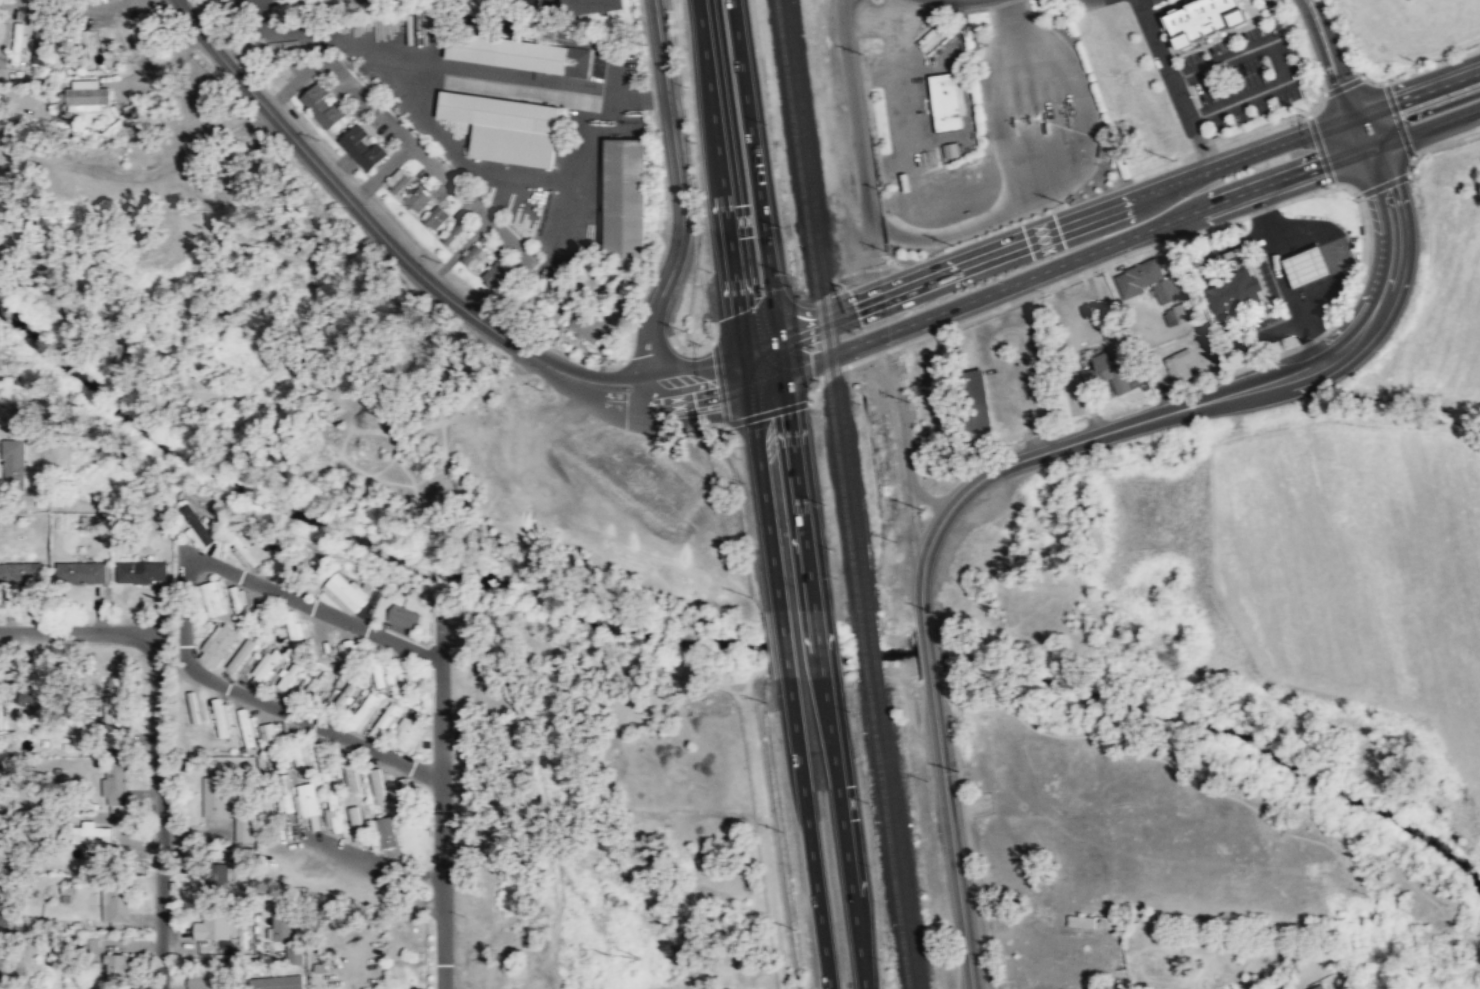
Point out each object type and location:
building: (587, 6)
road: (1163, 7)
building: (1203, 18)
road: (1276, 19)
building: (151, 21)
building: (0, 29)
building: (930, 38)
building: (18, 42)
building: (38, 45)
building: (519, 53)
road: (1330, 58)
road: (1277, 59)
road: (1175, 84)
road: (1419, 92)
building: (86, 95)
building: (944, 99)
building: (323, 105)
building: (505, 126)
road: (1367, 131)
traffic signals: (1367, 131)
building: (1104, 146)
gas station: (1104, 146)
building: (362, 147)
building: (951, 150)
road: (756, 168)
building: (397, 180)
building: (627, 197)
road: (682, 197)
building: (417, 199)
road: (1263, 212)
building: (436, 216)
road: (1068, 224)
building: (455, 235)
road: (1114, 243)
building: (473, 255)
building: (1310, 266)
road: (419, 272)
building: (495, 273)
building: (1148, 281)
building: (1237, 292)
road: (738, 303)
railway: (829, 312)
railway: (818, 313)
building: (1179, 313)
building: (587, 326)
road: (763, 354)
building: (1180, 364)
building: (1112, 372)
building: (982, 405)
road: (1187, 408)
building: (13, 461)
road: (796, 470)
building: (198, 530)
building: (249, 551)
building: (294, 566)
building: (81, 572)
building: (141, 572)
building: (13, 575)
building: (346, 592)
building: (215, 598)
building: (239, 603)
building: (403, 616)
road: (359, 626)
building: (292, 630)
building: (219, 644)
building: (352, 647)
road: (819, 647)
road: (785, 651)
road: (928, 652)
railway: (875, 657)
railway: (865, 658)
building: (265, 666)
building: (290, 674)
building: (405, 678)
building: (320, 682)
building: (38, 696)
building: (365, 712)
building: (221, 719)
road: (316, 726)
building: (246, 728)
building: (116, 731)
building: (408, 732)
building: (271, 735)
road: (157, 741)
building: (320, 749)
building: (299, 762)
building: (350, 770)
building: (114, 784)
building: (214, 795)
building: (408, 800)
building: (285, 803)
building: (307, 803)
building: (331, 812)
building: (244, 827)
building: (386, 831)
road: (951, 832)
building: (93, 836)
railway: (890, 839)
railway: (899, 839)
road: (442, 840)
road: (844, 840)
road: (810, 842)
road: (365, 863)
building: (214, 878)
building: (115, 904)
building: (5, 917)
building: (1081, 921)
building: (213, 925)
building: (281, 925)
road: (443, 944)
building: (294, 956)
building: (116, 967)
building: (202, 979)
building: (273, 983)
building: (1320, 987)

